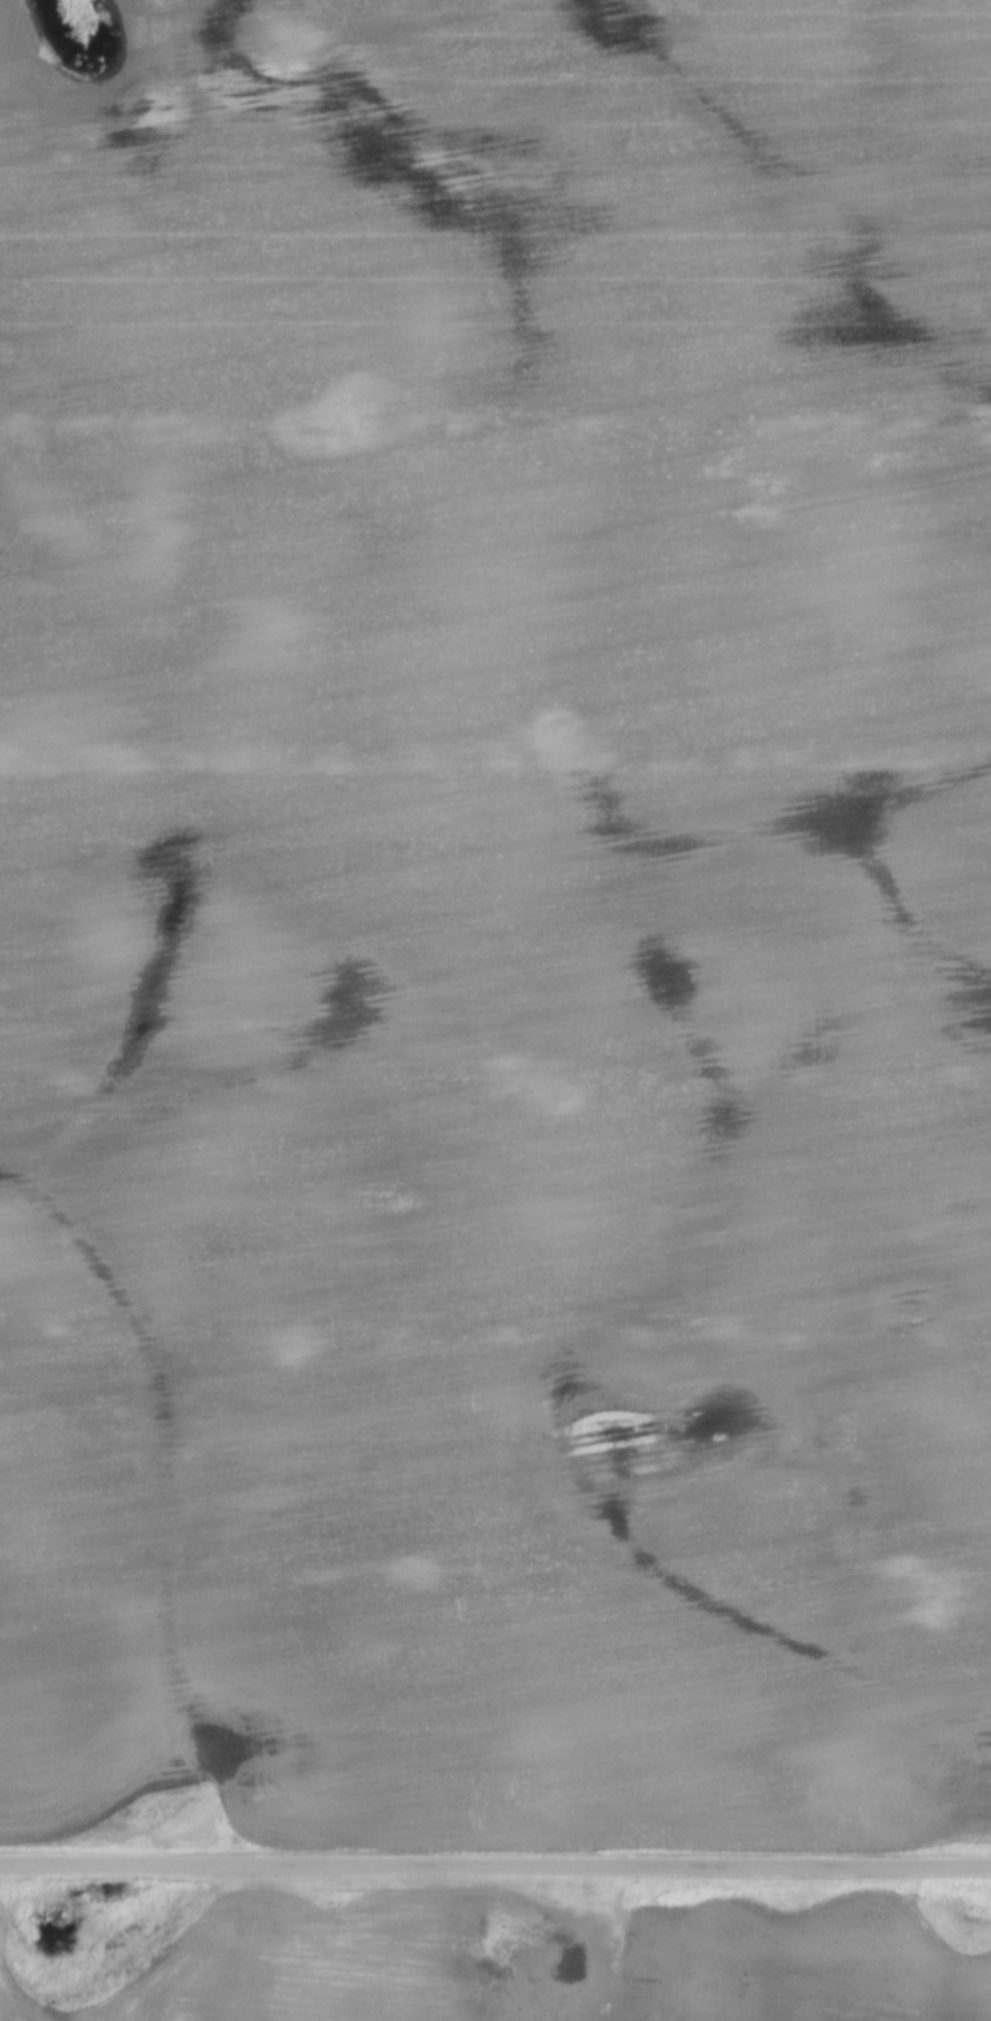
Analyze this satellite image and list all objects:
road: (495, 1873)

